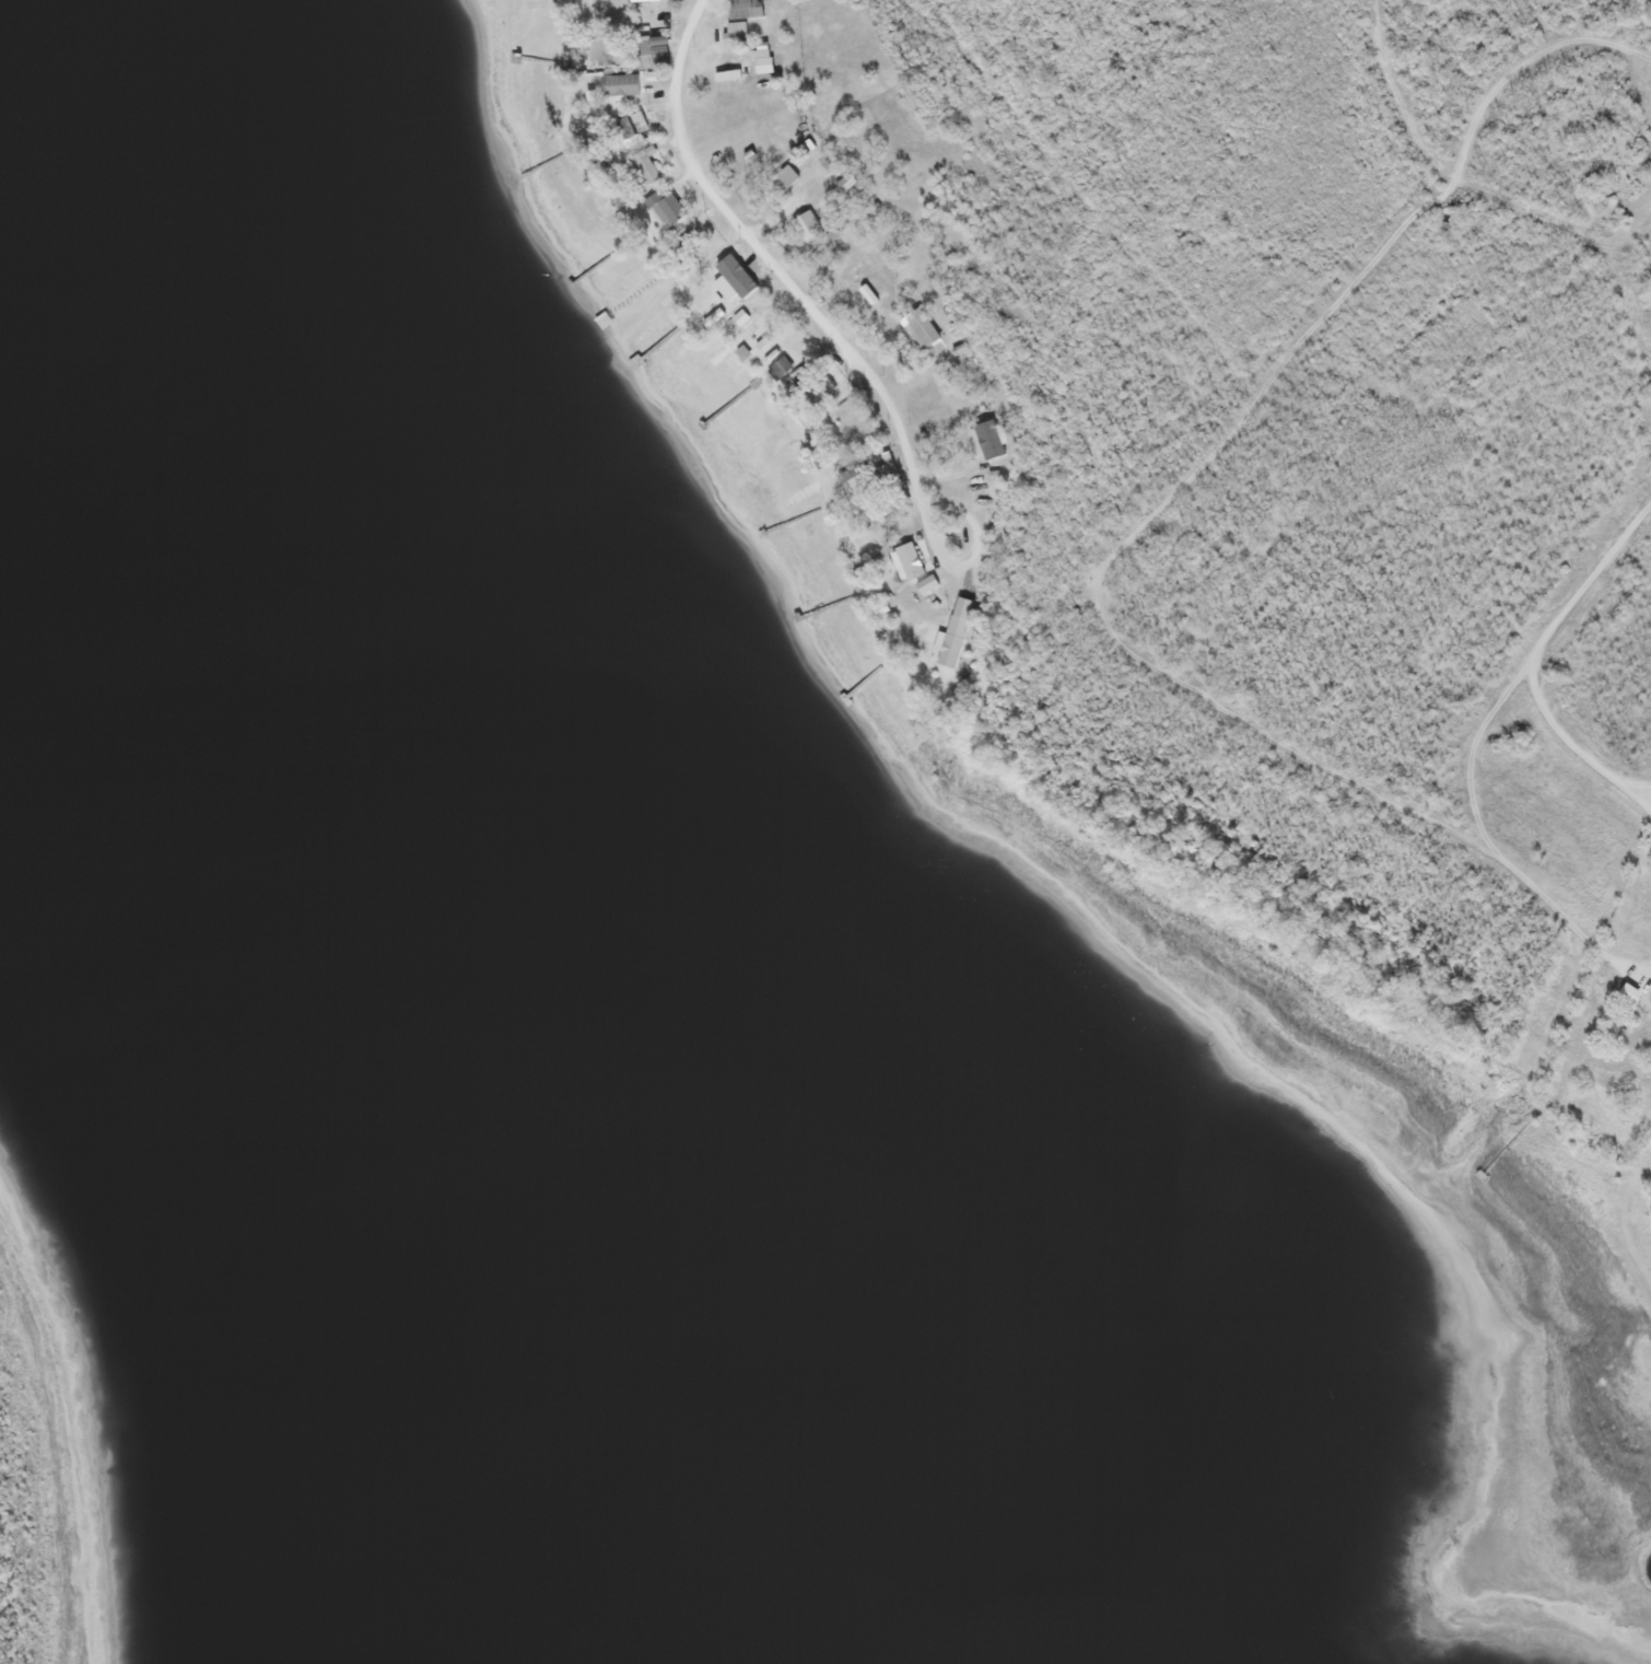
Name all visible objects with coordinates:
building: (657, 7)
building: (746, 8)
building: (736, 30)
building: (606, 50)
building: (661, 50)
building: (643, 51)
building: (761, 57)
building: (618, 83)
building: (628, 128)
building: (641, 167)
building: (785, 176)
road: (1469, 176)
building: (843, 182)
building: (1637, 202)
building: (669, 207)
building: (808, 219)
building: (736, 275)
road: (794, 282)
building: (867, 293)
building: (747, 318)
building: (918, 327)
building: (760, 342)
building: (742, 352)
building: (770, 354)
building: (778, 365)
building: (806, 384)
building: (818, 392)
building: (846, 420)
building: (987, 438)
building: (981, 451)
building: (905, 560)
building: (924, 583)
building: (955, 631)
building: (1630, 993)

